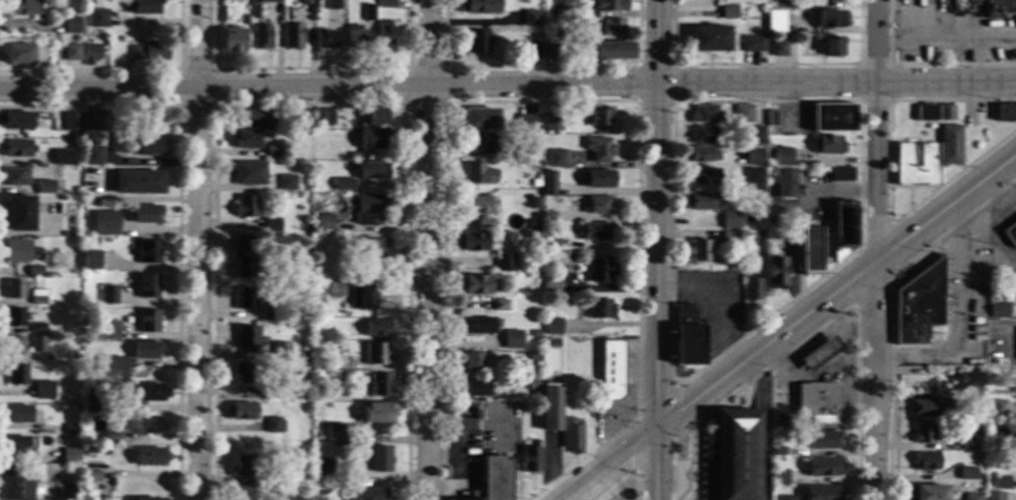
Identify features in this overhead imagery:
building: (229, 0)
building: (266, 1)
building: (538, 1)
building: (304, 2)
building: (388, 2)
building: (786, 4)
building: (333, 5)
building: (609, 5)
building: (477, 6)
building: (19, 7)
building: (143, 7)
building: (999, 7)
building: (555, 10)
building: (367, 13)
building: (729, 13)
building: (530, 17)
building: (96, 18)
building: (831, 19)
building: (775, 22)
building: (71, 25)
building: (612, 27)
building: (385, 34)
building: (290, 36)
building: (536, 36)
building: (259, 37)
building: (354, 38)
building: (323, 39)
building: (710, 39)
building: (231, 40)
building: (476, 41)
road: (657, 42)
road: (946, 43)
building: (752, 44)
building: (832, 47)
building: (779, 48)
building: (534, 50)
building: (612, 50)
building: (71, 52)
building: (149, 52)
building: (557, 52)
building: (17, 54)
building: (91, 54)
road: (979, 63)
road: (765, 65)
road: (889, 65)
road: (920, 65)
road: (673, 66)
road: (540, 67)
road: (310, 69)
road: (214, 70)
road: (124, 71)
road: (836, 83)
traffic signals: (657, 85)
road: (328, 88)
road: (568, 102)
road: (408, 103)
road: (311, 104)
building: (1005, 112)
building: (743, 113)
building: (926, 113)
building: (946, 113)
building: (704, 114)
building: (376, 116)
building: (323, 117)
building: (250, 118)
building: (303, 118)
building: (599, 118)
building: (771, 118)
building: (833, 118)
building: (479, 119)
building: (15, 120)
building: (100, 121)
building: (71, 122)
building: (552, 122)
building: (526, 123)
road: (875, 130)
building: (74, 135)
building: (702, 135)
building: (755, 135)
building: (244, 139)
building: (374, 139)
building: (137, 145)
building: (478, 145)
building: (826, 145)
building: (950, 145)
building: (14, 148)
building: (599, 149)
building: (273, 151)
building: (518, 154)
building: (700, 155)
building: (754, 155)
building: (904, 155)
building: (93, 156)
building: (61, 157)
building: (352, 157)
building: (779, 157)
building: (556, 158)
building: (371, 171)
building: (249, 173)
building: (478, 174)
building: (841, 174)
building: (15, 177)
building: (704, 177)
building: (754, 177)
road: (889, 178)
building: (597, 179)
building: (137, 182)
building: (286, 182)
building: (535, 183)
building: (548, 183)
building: (786, 183)
building: (341, 184)
building: (44, 187)
road: (672, 192)
building: (700, 201)
building: (597, 205)
building: (245, 207)
road: (945, 207)
building: (369, 210)
building: (477, 210)
building: (773, 210)
road: (178, 212)
building: (18, 213)
building: (145, 214)
building: (548, 217)
building: (729, 220)
building: (104, 223)
building: (324, 223)
building: (271, 226)
building: (546, 229)
building: (842, 229)
building: (596, 231)
building: (1010, 234)
road: (875, 236)
building: (729, 238)
building: (759, 238)
building: (470, 242)
road: (197, 249)
road: (427, 250)
building: (698, 250)
building: (809, 250)
building: (16, 251)
building: (147, 252)
building: (372, 254)
building: (242, 257)
road: (657, 257)
building: (735, 259)
building: (90, 260)
building: (503, 262)
building: (598, 270)
building: (35, 271)
building: (776, 273)
building: (535, 282)
building: (548, 283)
building: (475, 284)
building: (147, 286)
building: (14, 289)
building: (752, 289)
road: (872, 294)
building: (108, 295)
building: (37, 297)
building: (361, 297)
building: (245, 299)
road: (722, 299)
building: (919, 304)
building: (499, 305)
building: (319, 308)
building: (599, 308)
road: (892, 309)
building: (999, 310)
road: (961, 311)
building: (268, 315)
building: (14, 318)
building: (147, 321)
building: (474, 325)
building: (552, 326)
building: (37, 328)
building: (77, 328)
building: (375, 328)
building: (105, 332)
building: (317, 332)
road: (815, 332)
building: (535, 333)
building: (687, 337)
building: (245, 339)
building: (512, 340)
building: (553, 343)
building: (37, 344)
building: (13, 345)
road: (764, 345)
building: (317, 349)
building: (144, 350)
building: (279, 350)
building: (375, 353)
building: (817, 355)
building: (534, 356)
building: (77, 357)
building: (89, 357)
building: (471, 360)
building: (304, 365)
building: (113, 367)
building: (76, 369)
building: (611, 370)
building: (244, 373)
building: (16, 375)
building: (331, 379)
road: (874, 380)
building: (967, 382)
building: (378, 385)
building: (532, 386)
road: (673, 386)
building: (86, 387)
building: (1014, 387)
building: (474, 388)
road: (629, 390)
building: (43, 391)
building: (146, 392)
building: (267, 393)
building: (56, 396)
building: (94, 404)
building: (817, 404)
building: (550, 407)
building: (997, 407)
building: (926, 408)
building: (240, 411)
building: (377, 412)
building: (16, 414)
building: (146, 425)
building: (272, 425)
parking lot: (498, 427)
building: (71, 429)
traffic signals: (655, 429)
building: (922, 432)
building: (333, 433)
building: (571, 435)
building: (110, 438)
building: (966, 438)
building: (823, 440)
building: (14, 445)
building: (88, 451)
building: (777, 451)
building: (1013, 451)
road: (512, 452)
building: (735, 455)
building: (70, 457)
building: (148, 457)
building: (300, 458)
building: (379, 459)
road: (443, 459)
building: (529, 459)
building: (925, 462)
road: (608, 464)
road: (654, 464)
building: (244, 466)
road: (460, 466)
building: (823, 467)
building: (323, 468)
building: (90, 472)
building: (966, 473)
road: (624, 477)
building: (494, 478)
building: (779, 478)
building: (274, 479)
building: (299, 481)
building: (1001, 482)
building: (15, 485)
road: (59, 487)
building: (84, 489)
building: (625, 491)
building: (927, 492)
building: (239, 493)
building: (365, 493)
building: (822, 493)
building: (473, 495)
building: (993, 496)
building: (972, 497)
building: (786, 498)
building: (146, 499)

